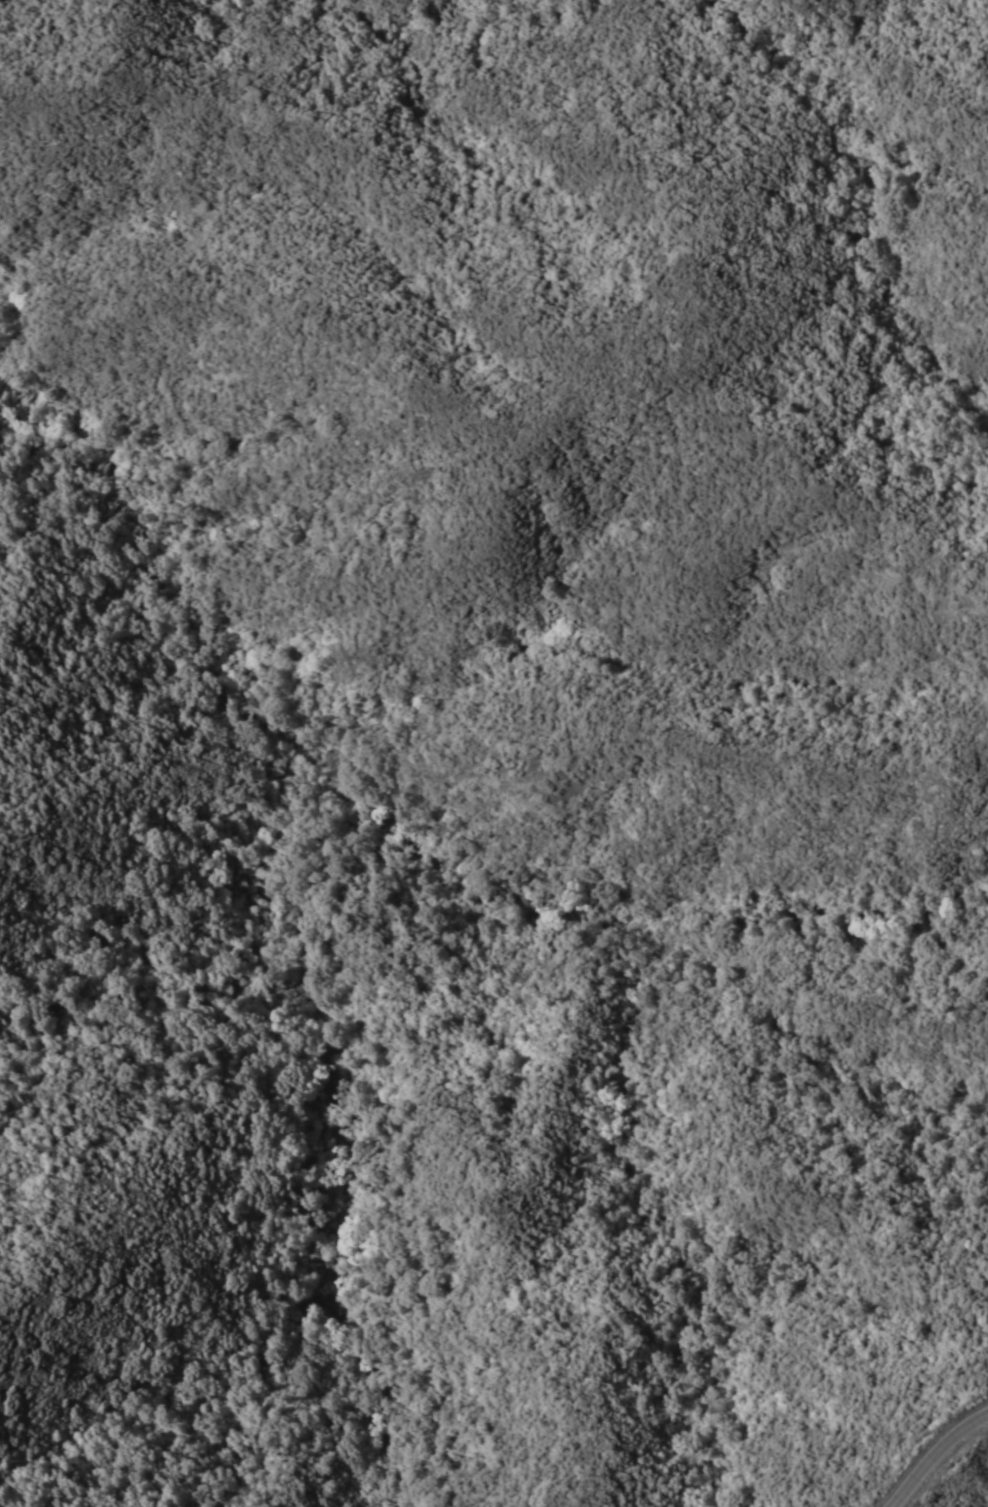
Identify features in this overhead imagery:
road: (935, 1455)

